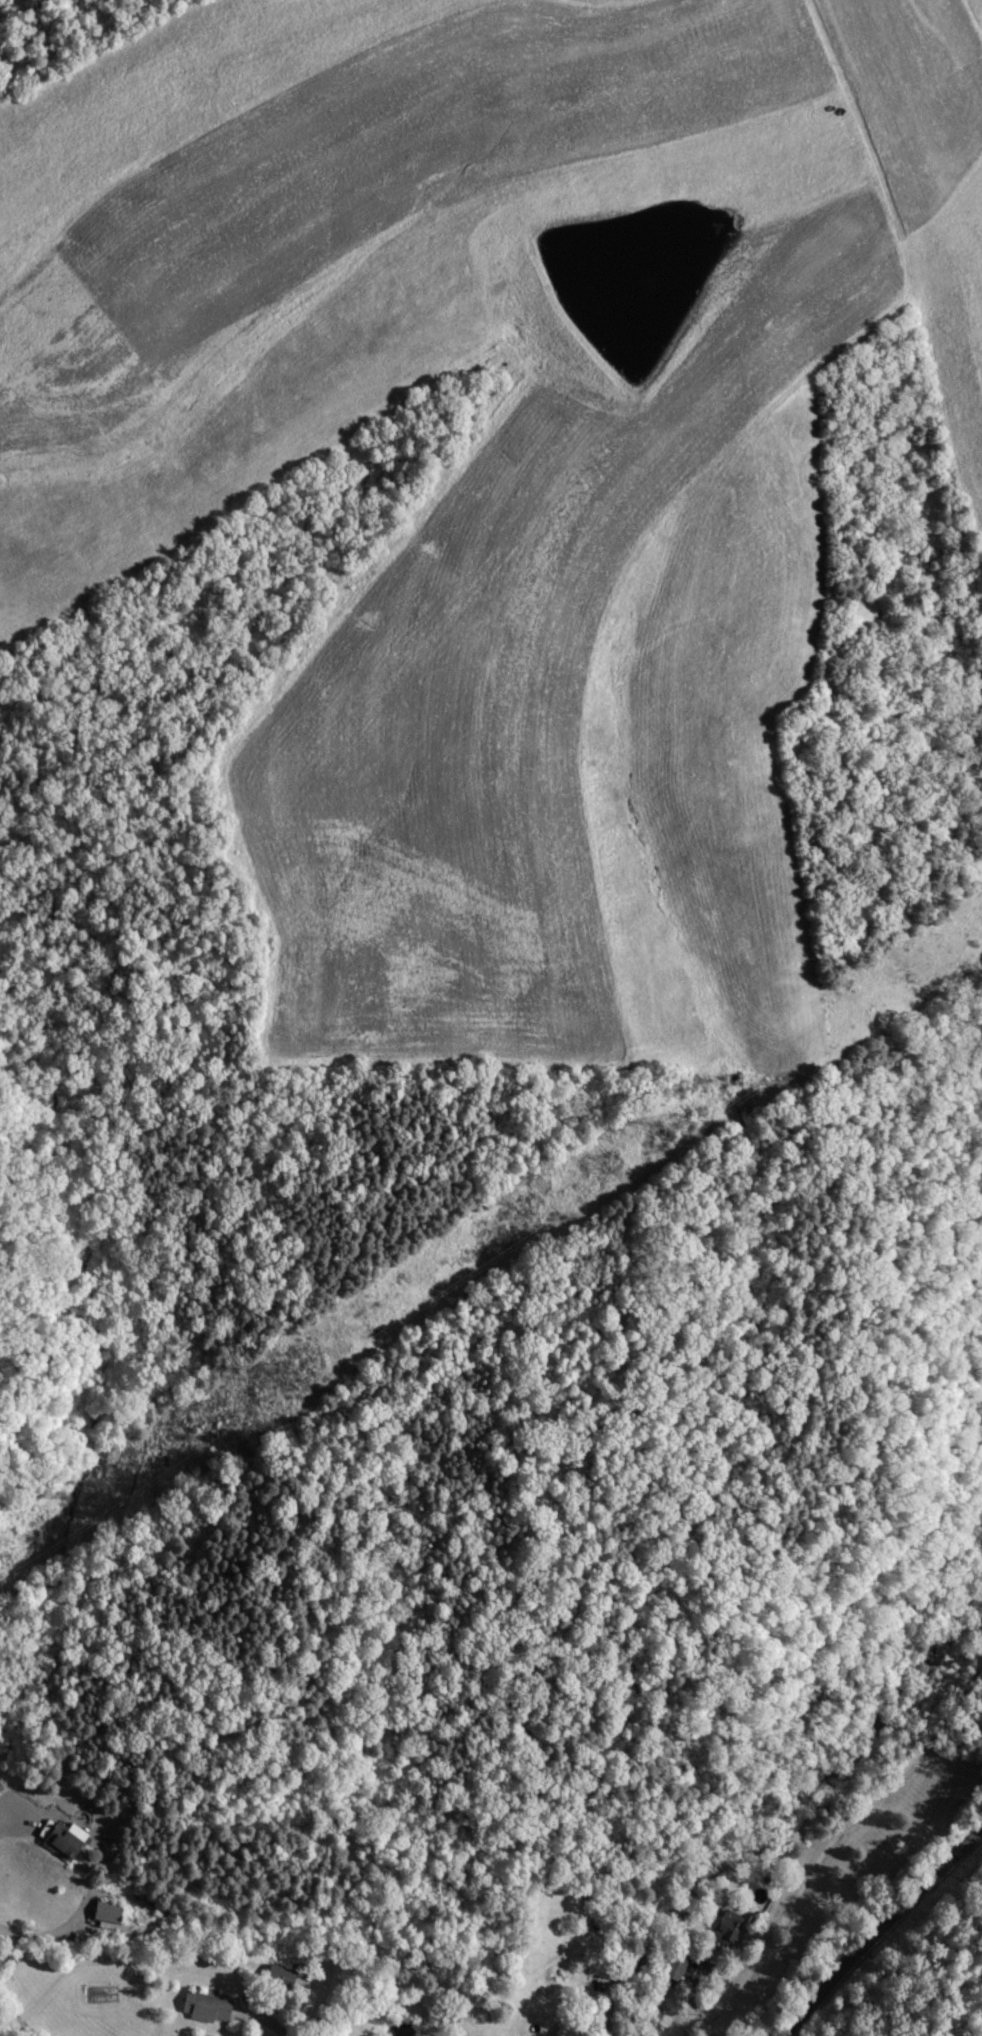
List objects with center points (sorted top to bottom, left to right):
power tower: (672, 1122)
power tower: (292, 1372)
building: (65, 1842)
building: (106, 1918)
road: (903, 1929)
building: (604, 1968)
building: (277, 1976)
building: (202, 2006)

